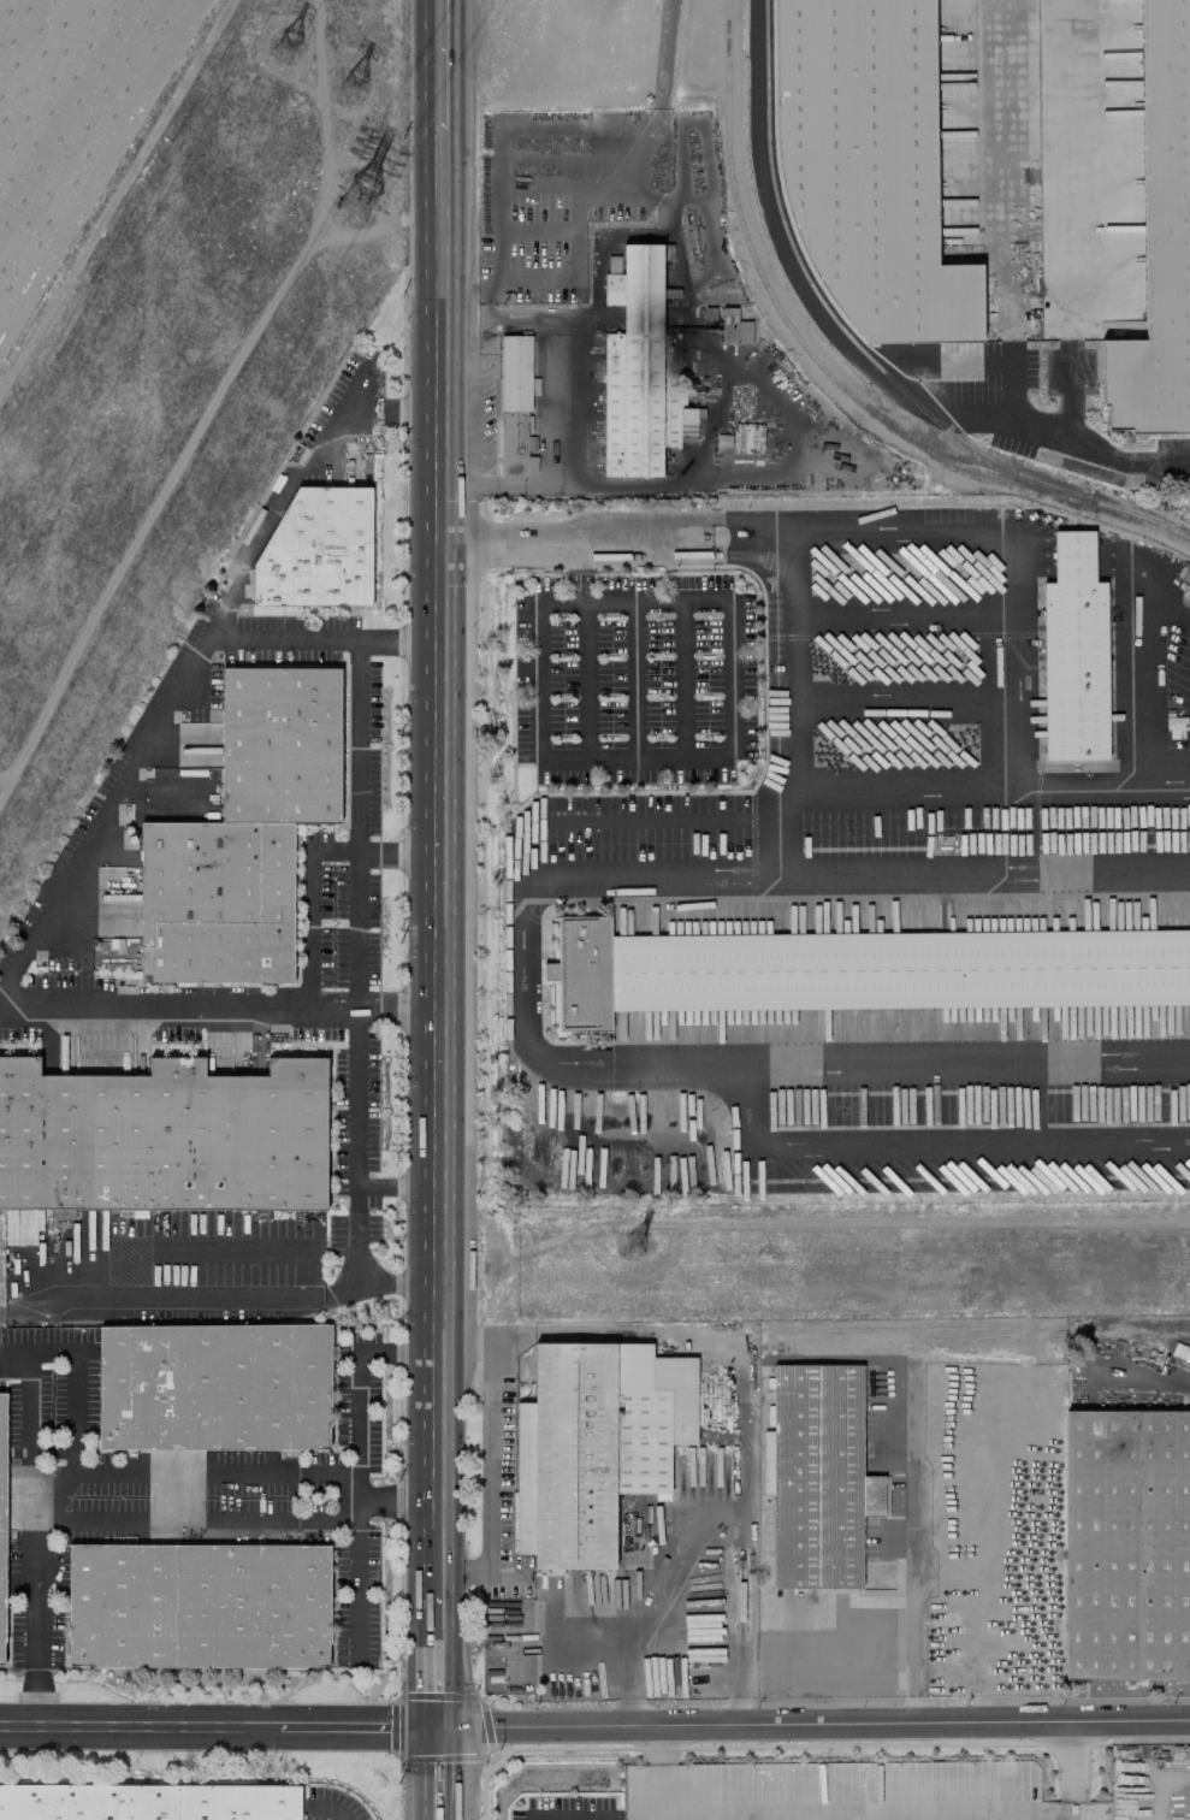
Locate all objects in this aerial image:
power tower: (292, 46)
road: (440, 64)
power tower: (350, 87)
building: (71, 119)
building: (866, 165)
power tower: (378, 203)
road: (1010, 212)
road: (1062, 220)
building: (1159, 240)
building: (612, 264)
railway: (825, 301)
road: (845, 348)
building: (640, 371)
railway: (828, 374)
road: (754, 389)
building: (515, 407)
road: (904, 539)
road: (616, 542)
building: (318, 550)
road: (1093, 555)
road: (905, 613)
building: (1073, 654)
road: (1017, 664)
road: (1145, 673)
road: (681, 675)
road: (634, 676)
road: (539, 681)
road: (905, 702)
road: (703, 752)
road: (1081, 785)
road: (1167, 785)
road: (905, 786)
road: (629, 820)
road: (356, 821)
building: (243, 833)
road: (397, 852)
road: (438, 857)
road: (993, 875)
road: (52, 896)
building: (857, 970)
road: (5, 994)
road: (522, 995)
building: (162, 1136)
road: (924, 1140)
road: (396, 1183)
power tower: (626, 1249)
road: (393, 1281)
road: (330, 1293)
railway: (933, 1329)
railway: (987, 1335)
road: (355, 1370)
road: (1143, 1381)
building: (214, 1387)
building: (594, 1444)
road: (486, 1454)
road: (289, 1472)
building: (819, 1478)
road: (396, 1501)
road: (57, 1514)
building: (2, 1518)
building: (1126, 1544)
road: (908, 1548)
building: (199, 1606)
road: (637, 1615)
road: (438, 1657)
road: (813, 1724)
road: (219, 1727)
road: (1071, 1771)
building: (831, 1772)
road: (437, 1774)
building: (149, 1802)
building: (1082, 1810)
road: (827, 1818)

